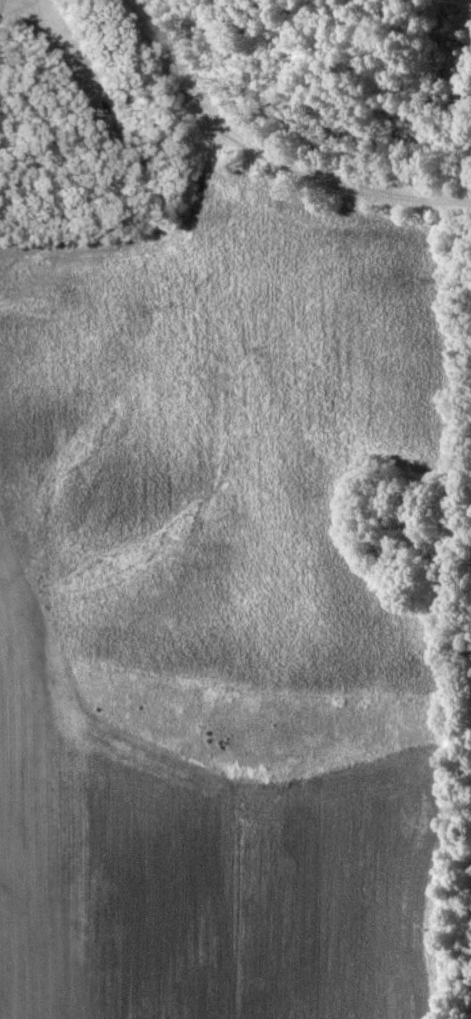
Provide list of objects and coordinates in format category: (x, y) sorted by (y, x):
road: (265, 149)

